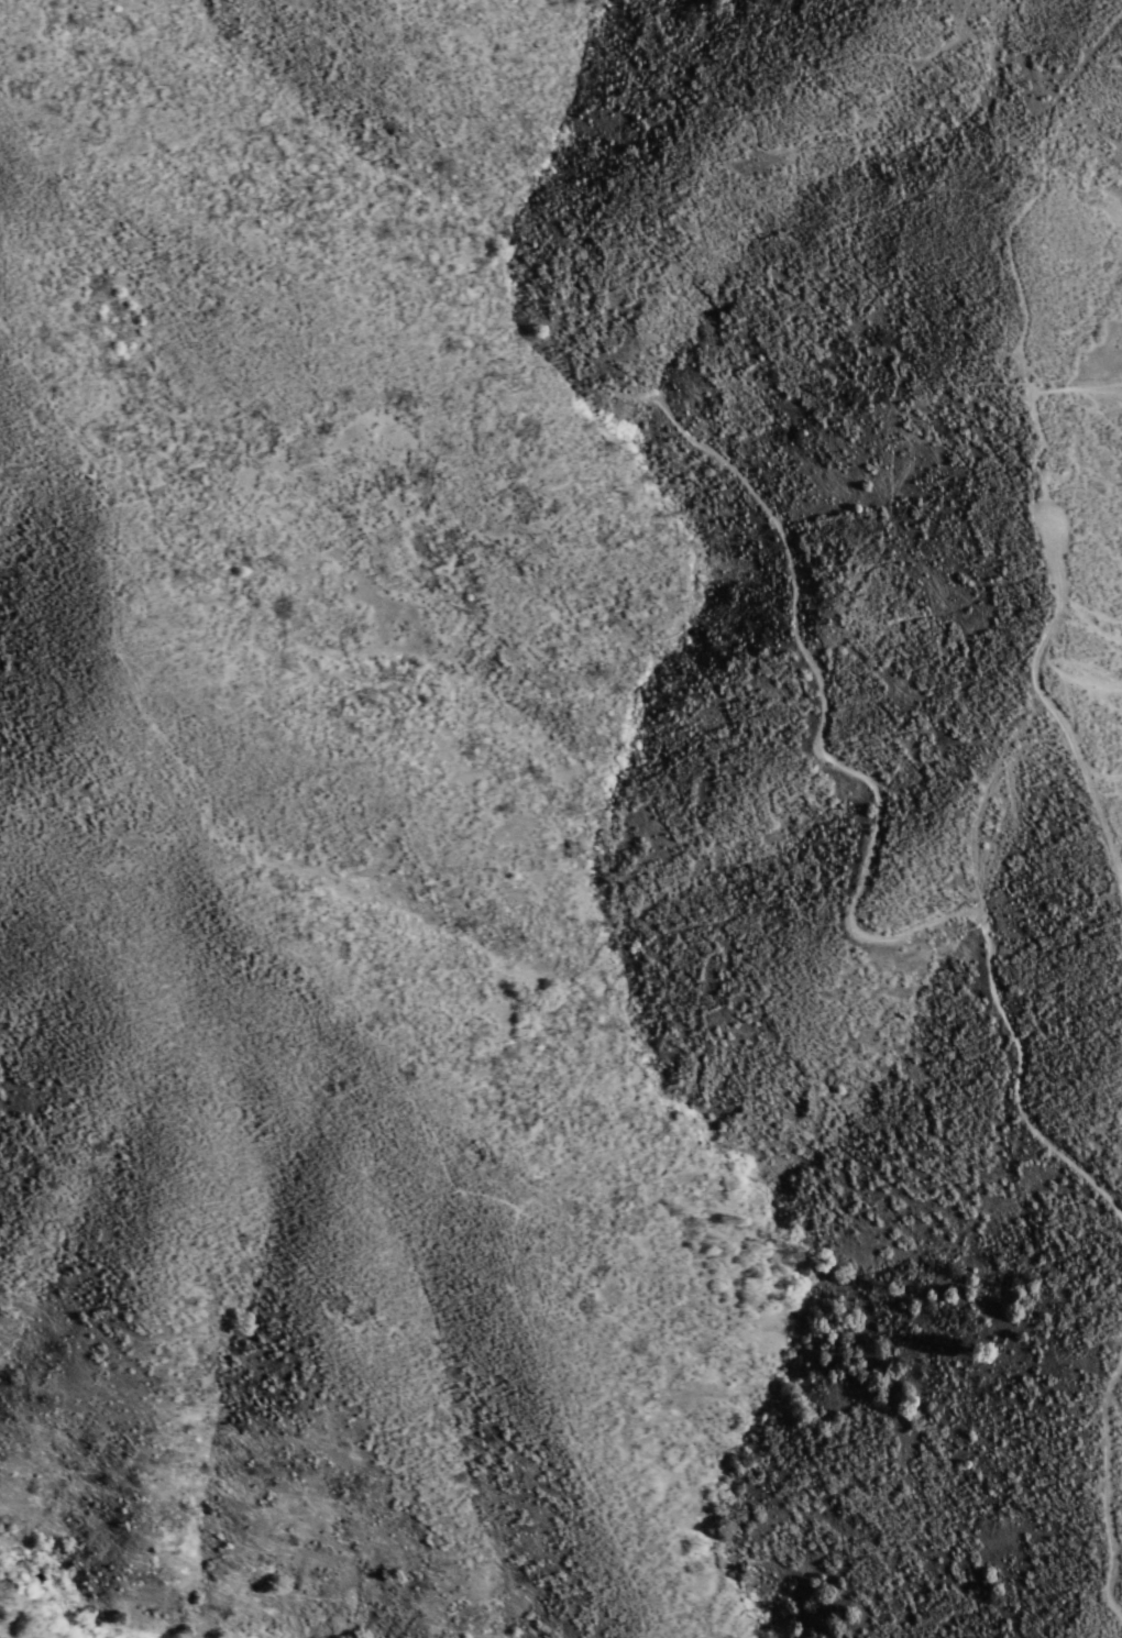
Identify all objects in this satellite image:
road: (1052, 717)
road: (1104, 1487)

